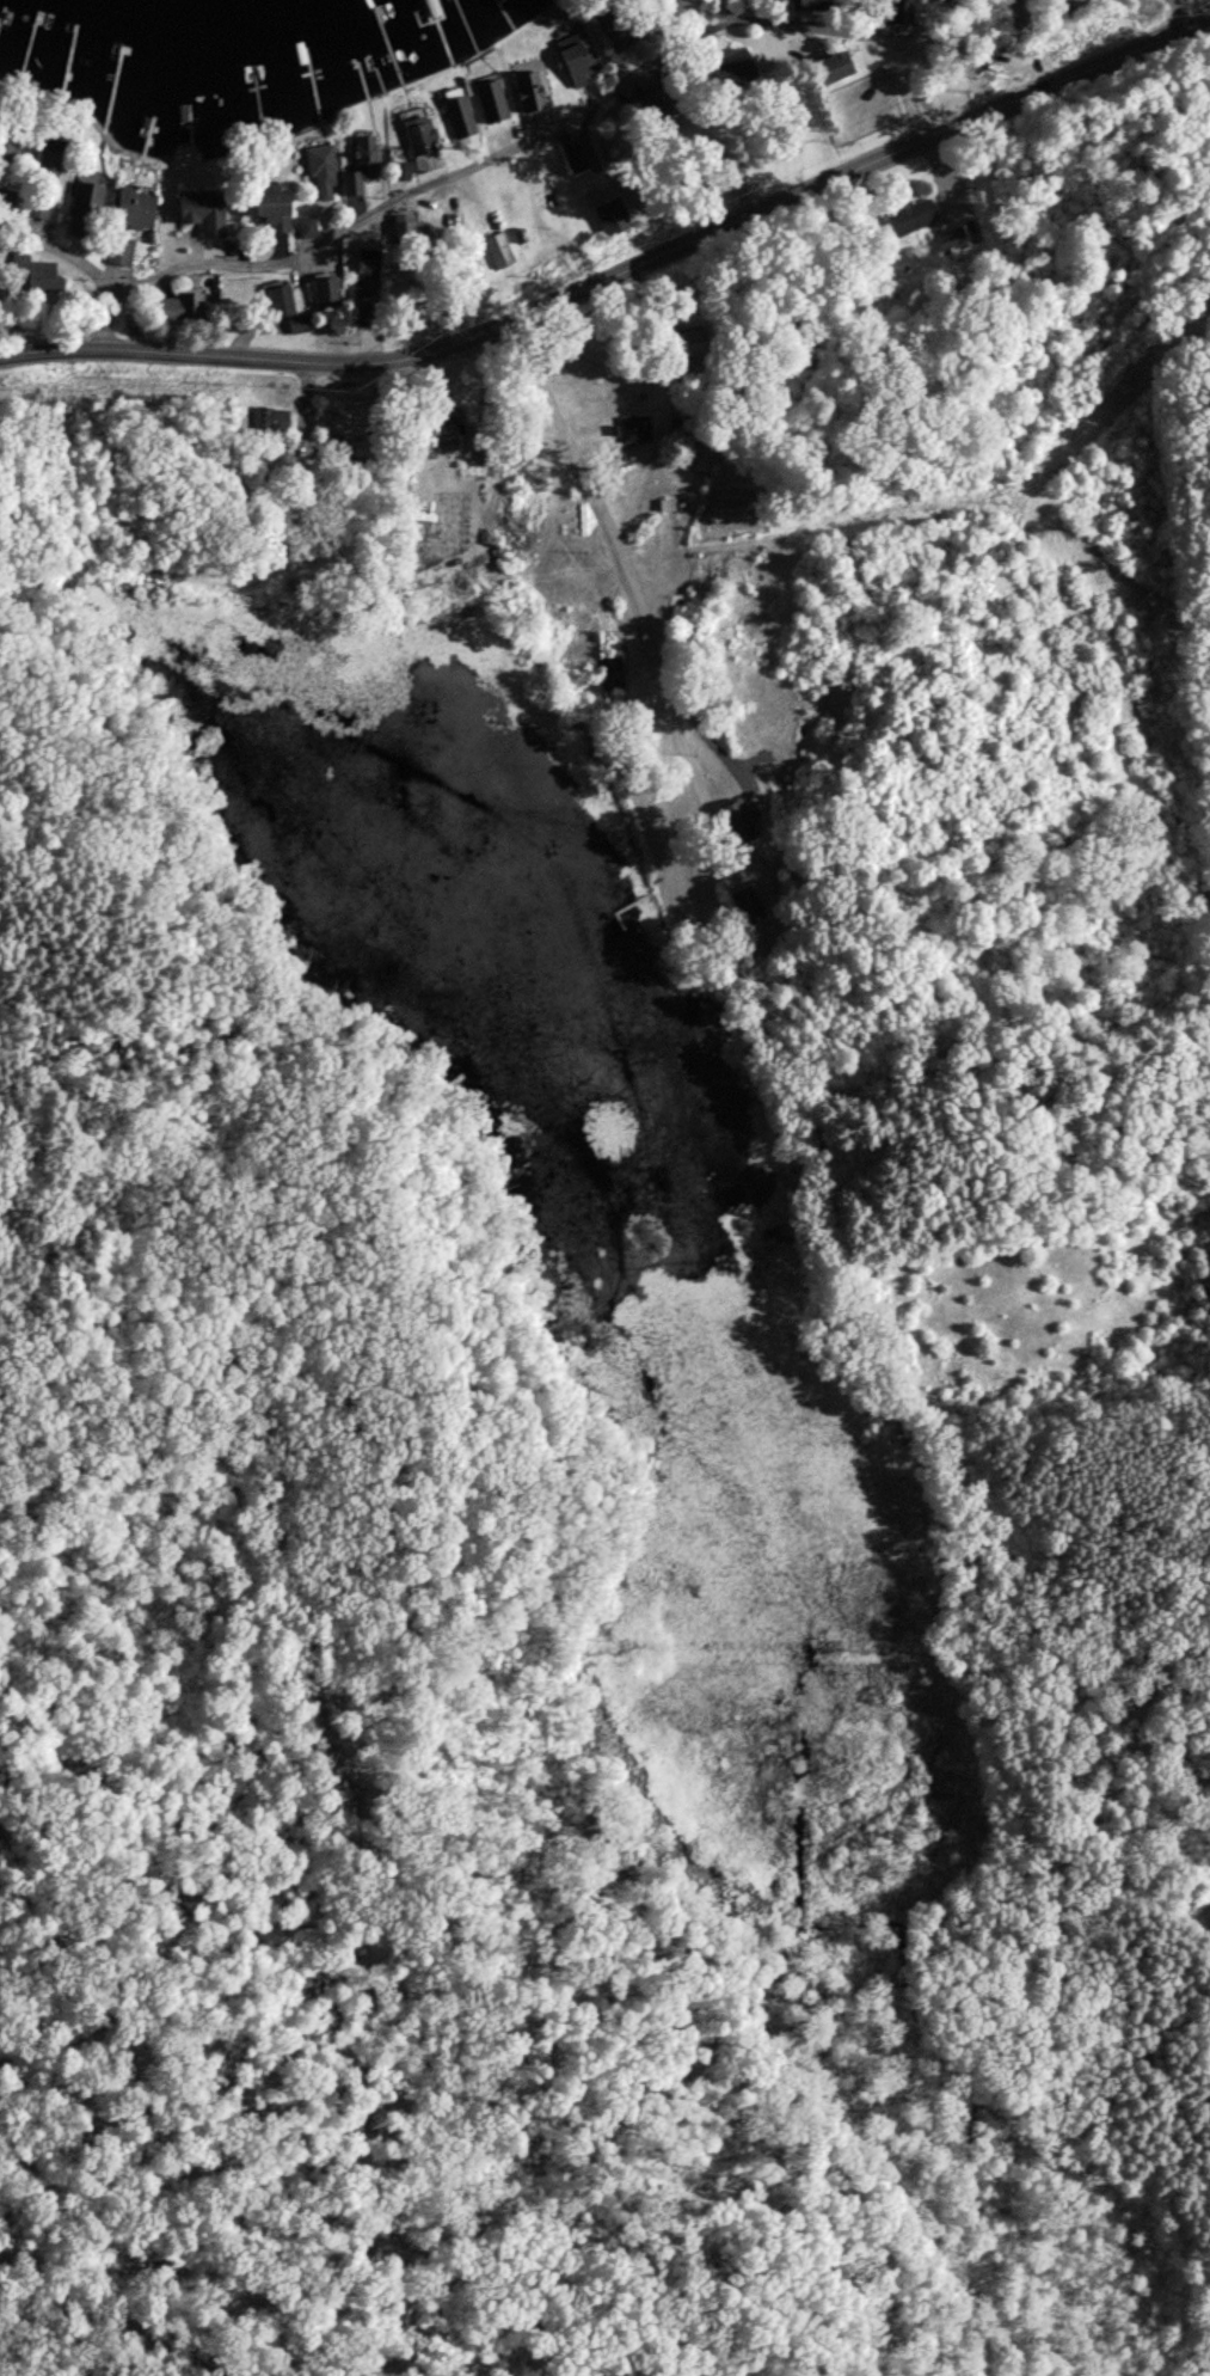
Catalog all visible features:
building: (1054, 6)
building: (821, 7)
road: (969, 50)
building: (824, 74)
building: (532, 99)
building: (490, 105)
road: (490, 152)
building: (400, 161)
building: (362, 167)
building: (324, 177)
building: (136, 215)
building: (285, 215)
building: (914, 221)
building: (952, 245)
building: (498, 256)
road: (621, 265)
building: (38, 281)
building: (281, 305)
building: (183, 313)
road: (98, 320)
building: (694, 357)
road: (662, 366)
building: (484, 454)
building: (705, 465)
road: (621, 570)
building: (738, 822)

